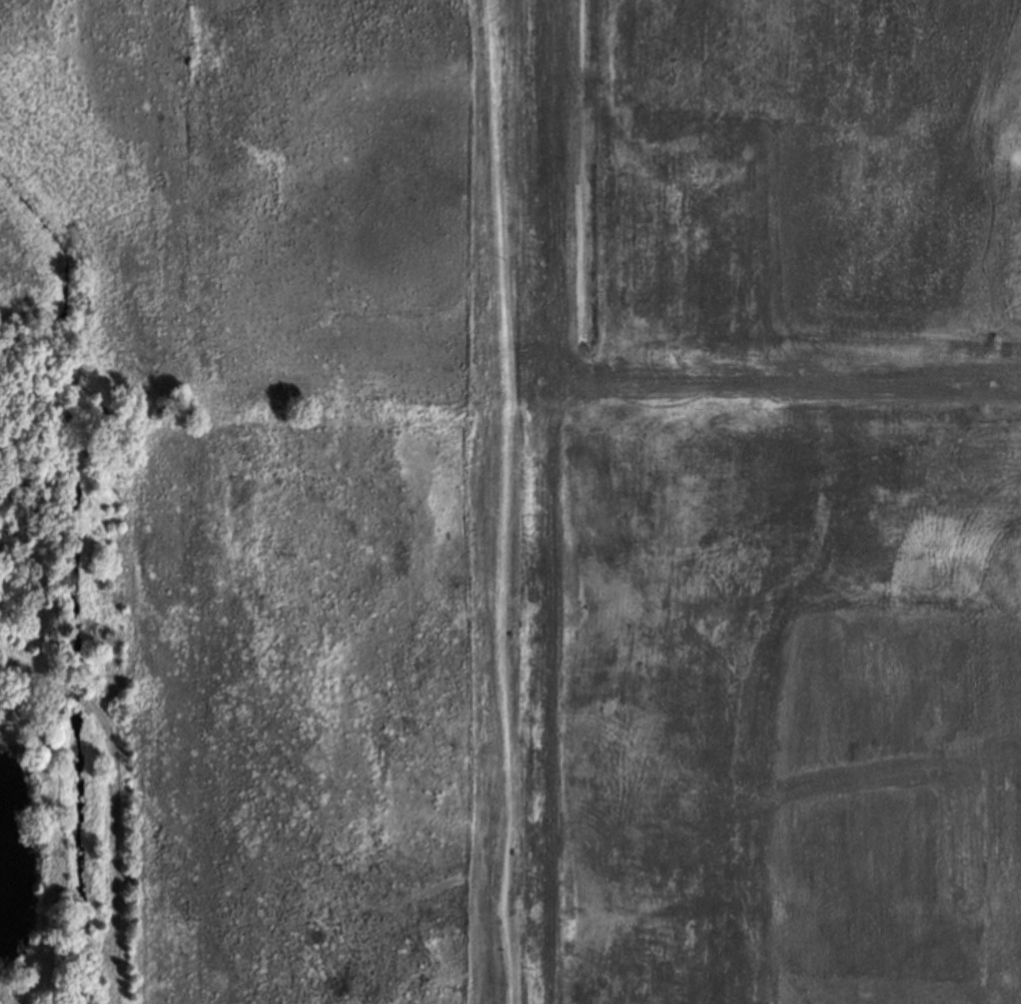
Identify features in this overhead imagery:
road: (111, 801)

